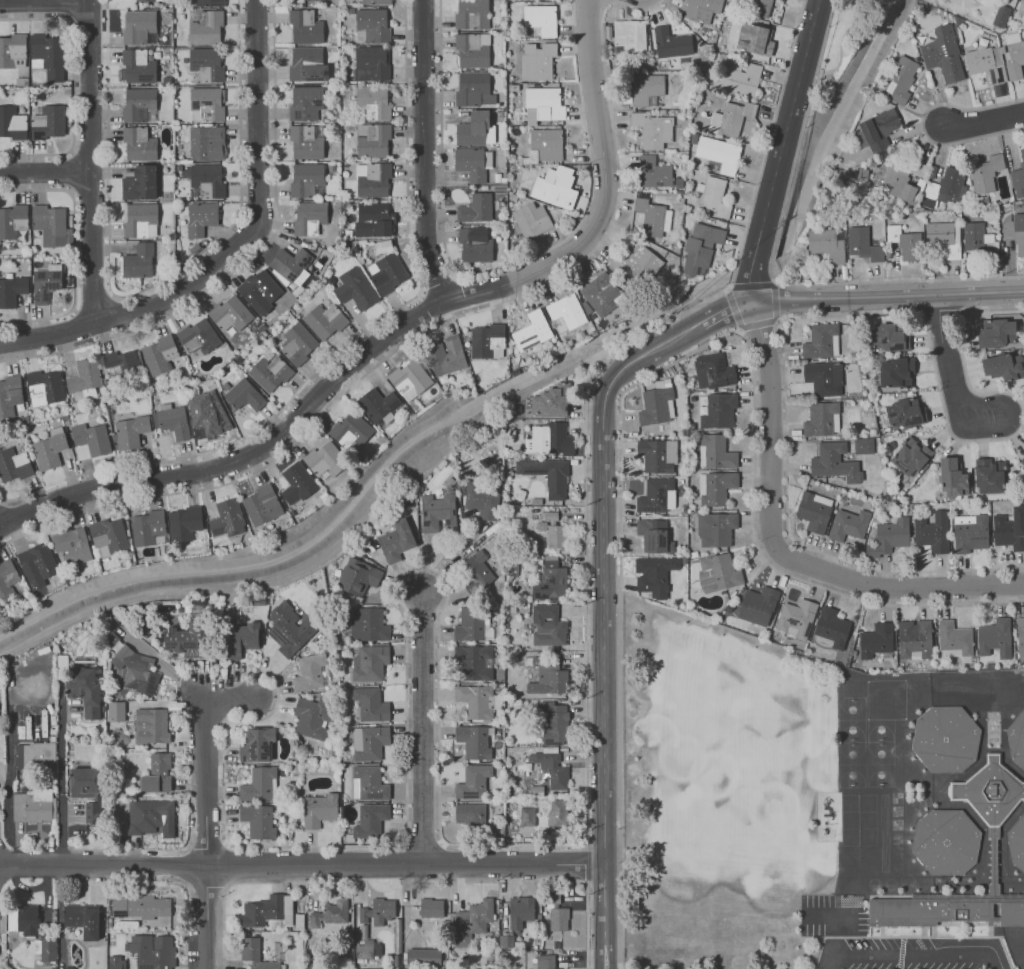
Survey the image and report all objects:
road: (44, 0)
building: (148, 0)
building: (309, 0)
building: (347, 2)
building: (377, 2)
building: (210, 3)
building: (1021, 6)
building: (759, 7)
building: (699, 8)
building: (349, 11)
building: (472, 14)
building: (1000, 15)
building: (541, 20)
building: (372, 26)
building: (306, 27)
building: (140, 28)
building: (207, 28)
building: (349, 35)
building: (629, 35)
road: (825, 36)
building: (754, 38)
building: (670, 42)
road: (842, 43)
park: (842, 44)
building: (473, 50)
building: (13, 51)
building: (943, 54)
building: (1013, 55)
building: (48, 56)
building: (538, 62)
building: (985, 63)
building: (372, 64)
building: (207, 65)
building: (308, 65)
building: (139, 67)
building: (900, 78)
building: (743, 79)
building: (22, 82)
road: (73, 86)
building: (647, 88)
building: (474, 90)
building: (180, 97)
building: (374, 102)
building: (208, 103)
building: (306, 103)
building: (544, 104)
building: (140, 106)
building: (511, 117)
building: (731, 117)
road: (982, 122)
building: (48, 123)
road: (922, 123)
building: (13, 124)
road: (788, 125)
building: (116, 128)
building: (652, 129)
building: (879, 129)
road: (768, 130)
building: (475, 131)
building: (373, 141)
building: (208, 143)
building: (306, 143)
building: (139, 145)
building: (546, 145)
road: (424, 152)
building: (719, 153)
road: (796, 156)
road: (90, 161)
building: (473, 163)
building: (345, 166)
building: (653, 171)
road: (45, 172)
building: (985, 173)
building: (1018, 174)
building: (373, 179)
building: (500, 180)
building: (207, 181)
building: (307, 181)
building: (141, 184)
building: (550, 186)
building: (484, 188)
building: (513, 197)
building: (713, 197)
building: (476, 209)
building: (650, 216)
building: (310, 218)
building: (201, 219)
building: (373, 220)
building: (532, 220)
building: (141, 221)
building: (14, 223)
building: (52, 227)
building: (1015, 231)
building: (942, 236)
building: (363, 242)
building: (862, 243)
building: (475, 244)
building: (825, 244)
building: (383, 246)
building: (910, 246)
building: (701, 247)
building: (194, 248)
road: (234, 248)
building: (517, 248)
road: (773, 250)
road: (75, 253)
building: (645, 259)
building: (69, 260)
road: (248, 260)
building: (359, 260)
building: (139, 261)
road: (752, 261)
building: (292, 265)
road: (497, 271)
road: (732, 271)
building: (387, 274)
road: (887, 281)
building: (47, 283)
road: (439, 283)
building: (287, 284)
road: (751, 284)
road: (749, 286)
road: (148, 287)
building: (355, 289)
building: (12, 291)
building: (259, 291)
building: (600, 293)
road: (887, 296)
road: (430, 305)
road: (95, 306)
road: (723, 310)
road: (940, 311)
road: (118, 313)
building: (566, 313)
road: (832, 315)
building: (231, 317)
building: (325, 321)
road: (755, 325)
road: (431, 327)
road: (397, 328)
building: (997, 329)
building: (532, 331)
building: (470, 332)
building: (258, 333)
building: (264, 334)
building: (199, 337)
building: (888, 337)
building: (489, 341)
building: (821, 341)
building: (298, 344)
road: (342, 349)
building: (160, 355)
building: (453, 356)
building: (1003, 365)
building: (122, 368)
building: (713, 371)
building: (895, 371)
building: (270, 373)
road: (647, 376)
building: (183, 378)
road: (616, 378)
building: (824, 378)
building: (411, 379)
road: (951, 379)
building: (85, 380)
building: (105, 383)
building: (151, 385)
building: (45, 388)
building: (242, 395)
building: (10, 396)
building: (551, 401)
building: (656, 405)
building: (381, 406)
building: (98, 411)
building: (719, 411)
building: (904, 413)
building: (204, 416)
building: (822, 419)
building: (66, 421)
building: (173, 422)
building: (131, 433)
building: (353, 433)
building: (549, 439)
building: (90, 440)
building: (863, 445)
building: (51, 450)
building: (715, 452)
building: (658, 455)
building: (910, 456)
building: (327, 461)
building: (835, 462)
building: (1021, 462)
building: (14, 466)
building: (359, 468)
building: (546, 475)
building: (989, 476)
building: (952, 477)
building: (300, 484)
building: (715, 487)
building: (481, 495)
building: (657, 495)
building: (327, 497)
road: (2, 502)
building: (264, 505)
building: (814, 511)
building: (294, 512)
building: (438, 513)
road: (11, 519)
building: (229, 519)
building: (187, 524)
building: (848, 524)
building: (1010, 528)
building: (150, 529)
building: (716, 529)
building: (554, 530)
building: (256, 531)
building: (932, 532)
building: (970, 532)
building: (653, 535)
building: (110, 536)
building: (890, 536)
building: (396, 541)
building: (75, 544)
road: (779, 549)
road: (454, 559)
building: (40, 562)
building: (475, 572)
building: (718, 572)
building: (654, 574)
building: (358, 576)
building: (9, 579)
building: (551, 580)
building: (37, 592)
building: (758, 605)
building: (796, 618)
building: (368, 624)
building: (472, 624)
building: (548, 626)
building: (832, 627)
building: (290, 628)
building: (1020, 635)
building: (954, 637)
building: (995, 637)
building: (240, 638)
building: (186, 639)
building: (876, 639)
building: (914, 639)
building: (474, 661)
building: (368, 662)
building: (137, 670)
building: (311, 672)
building: (547, 676)
building: (84, 689)
building: (477, 700)
building: (115, 711)
building: (312, 716)
road: (608, 721)
building: (554, 724)
building: (151, 726)
road: (425, 732)
building: (946, 737)
road: (437, 739)
building: (1017, 739)
building: (474, 740)
building: (369, 742)
building: (256, 744)
building: (35, 756)
road: (207, 758)
building: (551, 768)
building: (156, 774)
building: (83, 782)
building: (473, 782)
building: (368, 783)
building: (260, 785)
building: (32, 805)
building: (319, 809)
building: (90, 811)
building: (557, 812)
building: (470, 814)
building: (527, 816)
building: (151, 817)
building: (258, 820)
building: (370, 820)
building: (947, 841)
building: (1017, 842)
building: (994, 860)
road: (584, 862)
road: (406, 865)
road: (103, 866)
building: (552, 901)
building: (140, 907)
building: (431, 907)
building: (377, 909)
building: (267, 910)
building: (520, 911)
building: (330, 913)
road: (205, 918)
building: (83, 919)
building: (558, 919)
building: (23, 920)
building: (472, 921)
road: (586, 926)
building: (507, 940)
parking lot: (888, 940)
building: (367, 947)
building: (46, 949)
building: (153, 951)
road: (912, 952)
building: (255, 954)
building: (423, 956)
building: (545, 961)
building: (116, 962)

